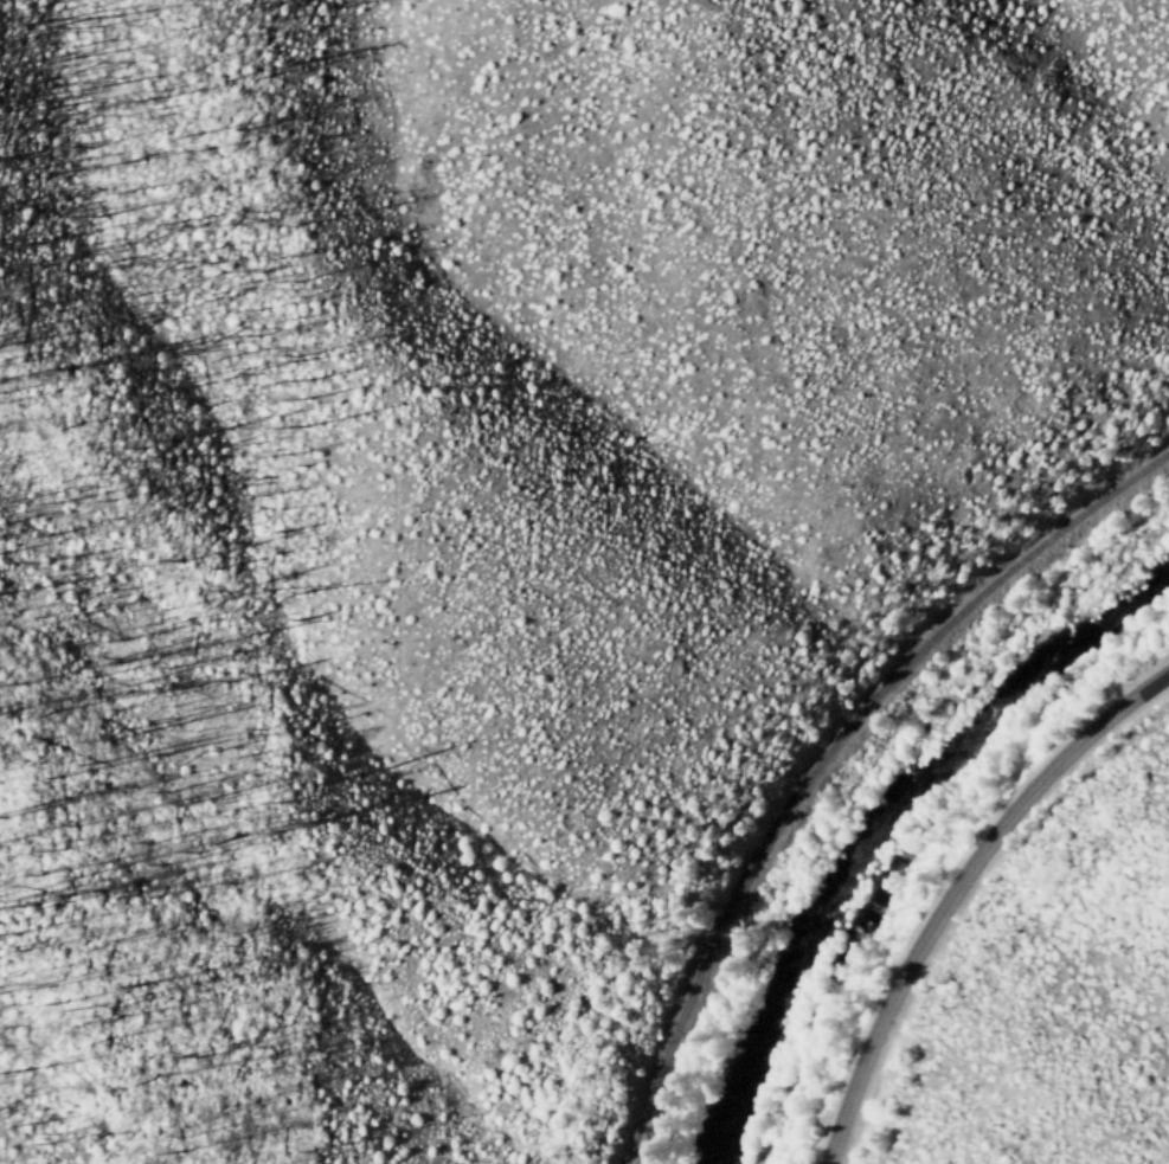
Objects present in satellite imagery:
railway: (828, 757)
road: (957, 887)

